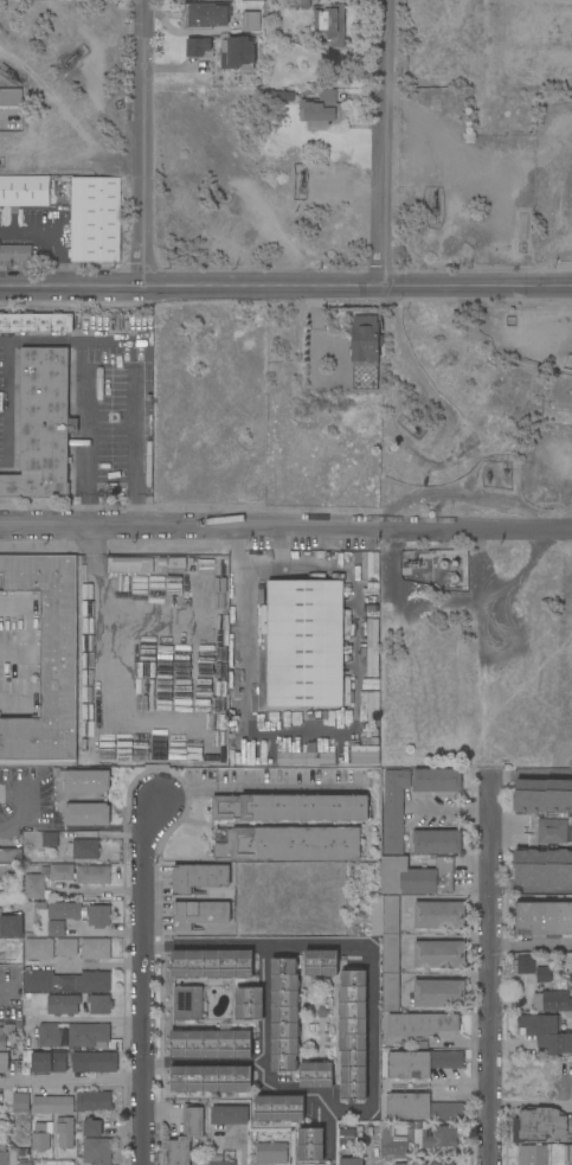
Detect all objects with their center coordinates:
building: (300, 4)
building: (205, 15)
building: (250, 23)
building: (330, 24)
building: (199, 47)
building: (238, 53)
petroleum well: (72, 57)
petroleum well: (12, 76)
building: (11, 98)
building: (275, 98)
building: (322, 111)
road: (141, 142)
road: (379, 142)
petroleum well: (300, 181)
building: (25, 191)
petroleum well: (433, 207)
building: (95, 219)
road: (56, 230)
petroleum well: (521, 233)
building: (15, 254)
road: (285, 286)
building: (36, 322)
building: (365, 339)
building: (141, 366)
building: (0, 402)
building: (7, 403)
building: (141, 421)
petroleum well: (409, 425)
building: (43, 428)
petroleum well: (488, 476)
road: (285, 529)
building: (193, 562)
petroleum well: (413, 564)
building: (129, 565)
building: (162, 567)
building: (176, 567)
building: (375, 567)
building: (219, 578)
road: (32, 629)
building: (306, 644)
building: (372, 648)
building: (46, 660)
road: (31, 691)
building: (373, 706)
road: (332, 736)
building: (365, 755)
building: (250, 757)
building: (307, 758)
building: (544, 774)
building: (437, 780)
building: (84, 781)
road: (257, 792)
building: (542, 796)
building: (289, 808)
building: (394, 811)
road: (19, 813)
building: (86, 814)
building: (552, 831)
building: (50, 840)
building: (437, 841)
building: (290, 845)
building: (83, 850)
building: (11, 856)
building: (542, 865)
building: (62, 872)
building: (92, 875)
building: (416, 877)
building: (199, 878)
building: (34, 888)
road: (101, 891)
road: (436, 900)
building: (64, 911)
building: (199, 914)
building: (438, 915)
building: (99, 916)
building: (544, 920)
building: (11, 926)
building: (56, 929)
road: (109, 933)
road: (200, 945)
building: (68, 947)
building: (39, 949)
building: (96, 949)
building: (391, 954)
building: (439, 955)
building: (321, 962)
building: (212, 964)
road: (91, 965)
building: (526, 966)
road: (491, 969)
building: (544, 975)
building: (571, 977)
building: (39, 981)
building: (84, 982)
road: (144, 982)
building: (439, 993)
building: (189, 1003)
building: (553, 1003)
building: (99, 1004)
building: (249, 1004)
building: (63, 1005)
building: (284, 1014)
road: (94, 1020)
building: (420, 1024)
building: (545, 1033)
building: (50, 1035)
building: (352, 1035)
building: (5, 1036)
building: (89, 1036)
building: (211, 1044)
building: (45, 1062)
building: (4, 1063)
building: (95, 1063)
building: (420, 1063)
building: (316, 1075)
building: (211, 1078)
road: (71, 1081)
road: (462, 1081)
road: (462, 1093)
building: (20, 1100)
road: (372, 1100)
building: (94, 1101)
building: (53, 1106)
building: (278, 1108)
building: (420, 1108)
building: (229, 1115)
building: (538, 1124)
building: (92, 1127)
building: (65, 1132)
building: (186, 1135)
building: (41, 1137)
building: (346, 1137)
building: (438, 1137)
building: (310, 1144)
building: (393, 1147)
road: (242, 1148)
building: (97, 1151)
building: (270, 1153)
building: (2, 1154)
building: (567, 1154)
building: (532, 1156)
building: (219, 1161)
building: (351, 1161)
building: (25, 1163)
building: (409, 1163)
building: (441, 1163)
building: (571, 1164)

